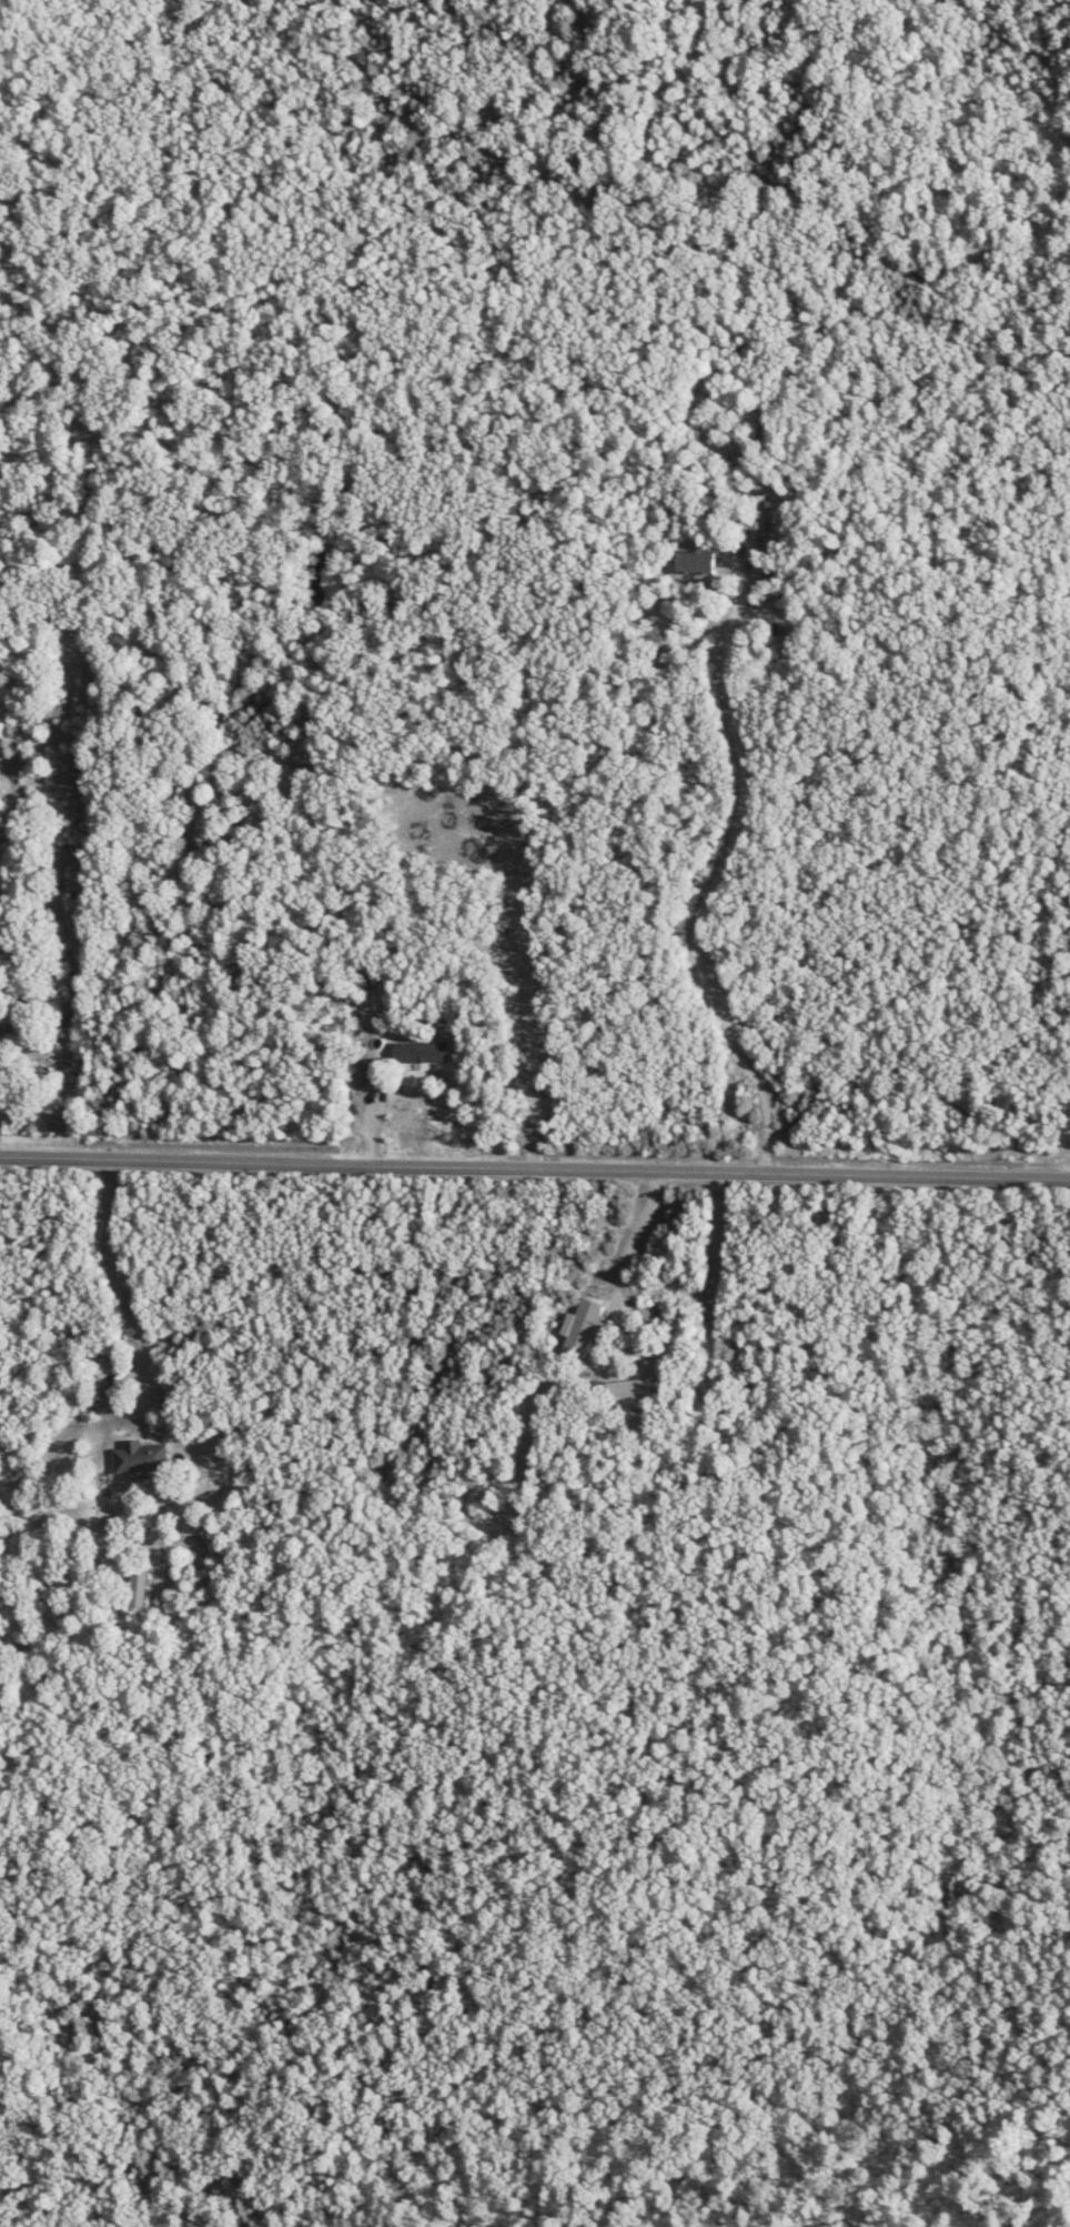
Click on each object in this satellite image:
building: (756, 511)
road: (224, 556)
building: (694, 561)
road: (650, 584)
building: (2, 830)
road: (715, 876)
building: (420, 1052)
road: (534, 1165)
building: (645, 1314)
building: (582, 1326)
road: (630, 1455)
building: (139, 1456)
road: (112, 1485)
building: (199, 1539)
building: (138, 1586)

